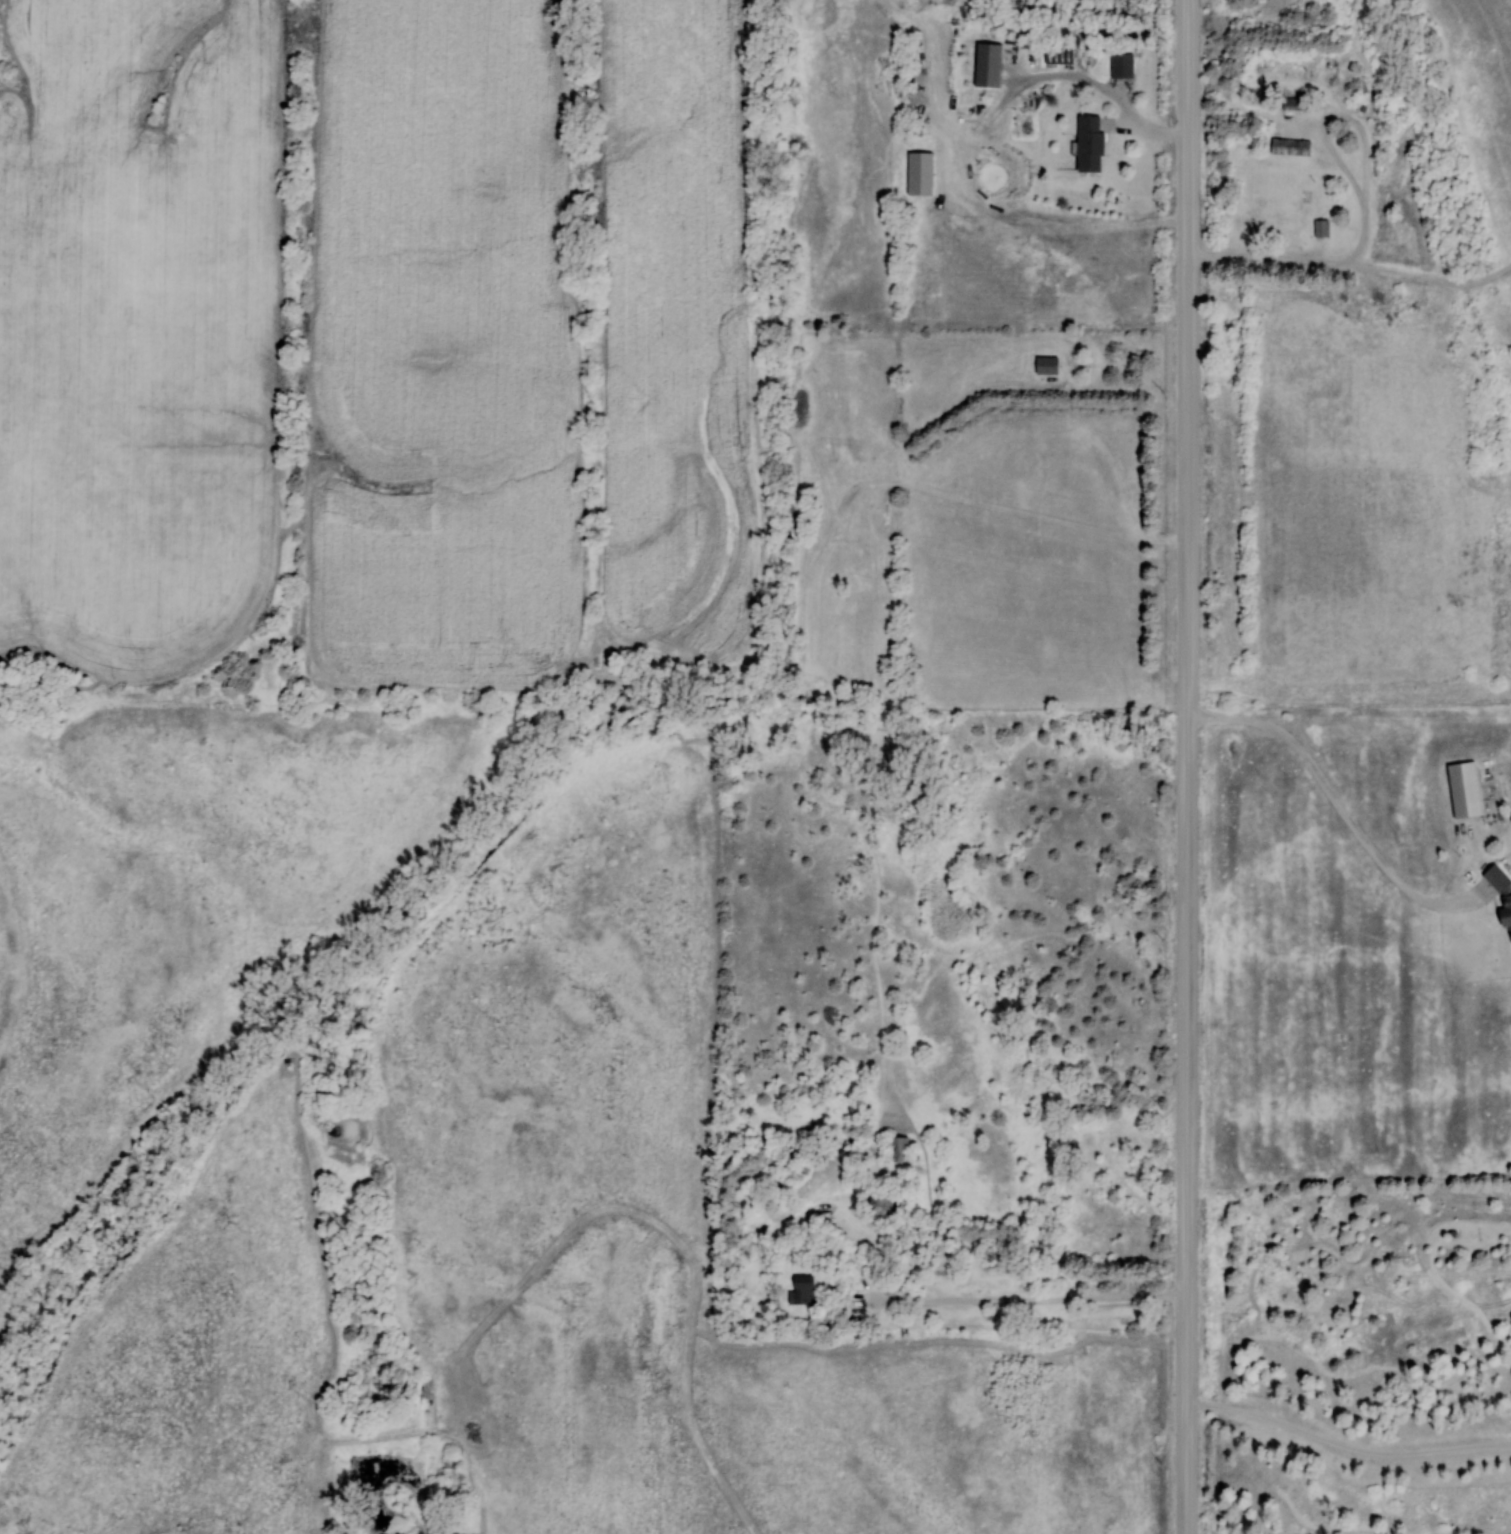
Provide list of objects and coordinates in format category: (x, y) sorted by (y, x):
building: (983, 65)
building: (1119, 65)
building: (1087, 144)
building: (1288, 147)
building: (1286, 203)
road: (1367, 206)
building: (1045, 366)
road: (1188, 767)
building: (1461, 790)
road: (1339, 807)
building: (1500, 897)
building: (896, 1148)
building: (801, 1290)
road: (1040, 1327)
road: (1346, 1447)

